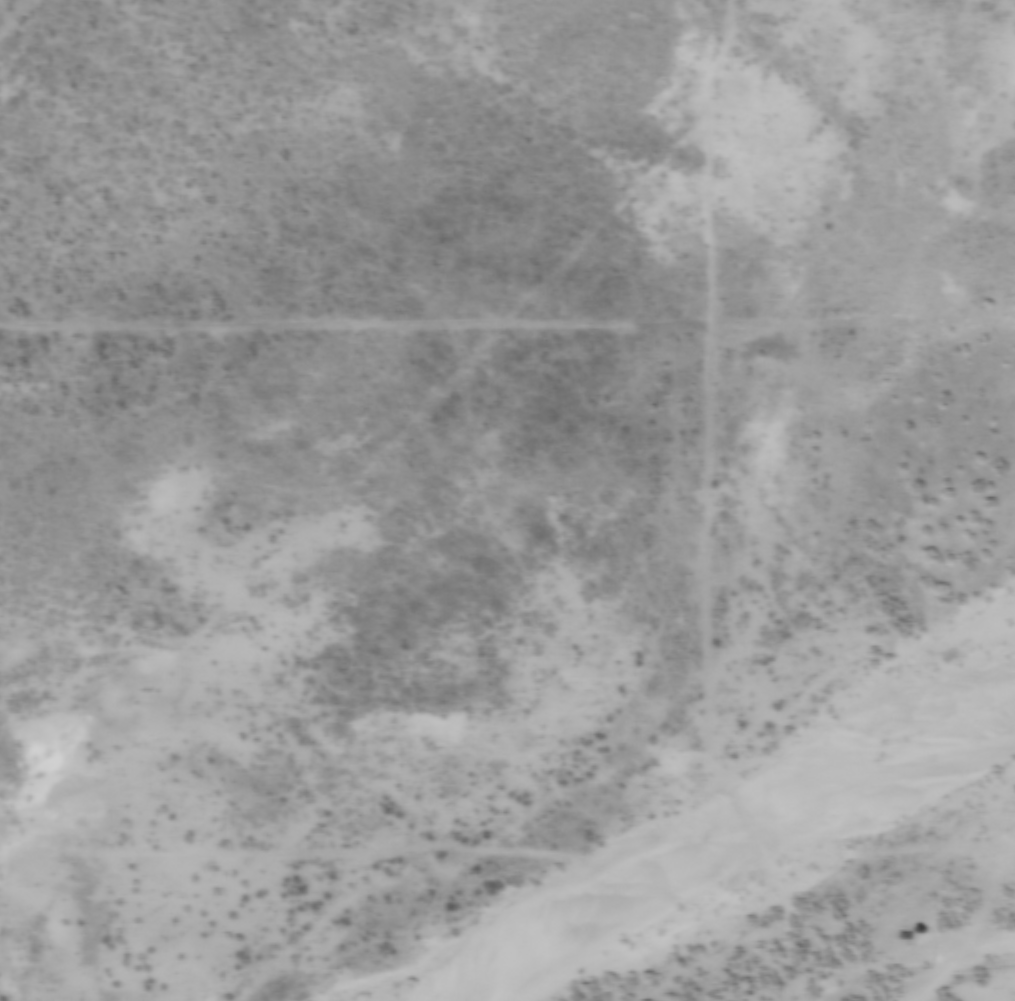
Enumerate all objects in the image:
road: (960, 958)

